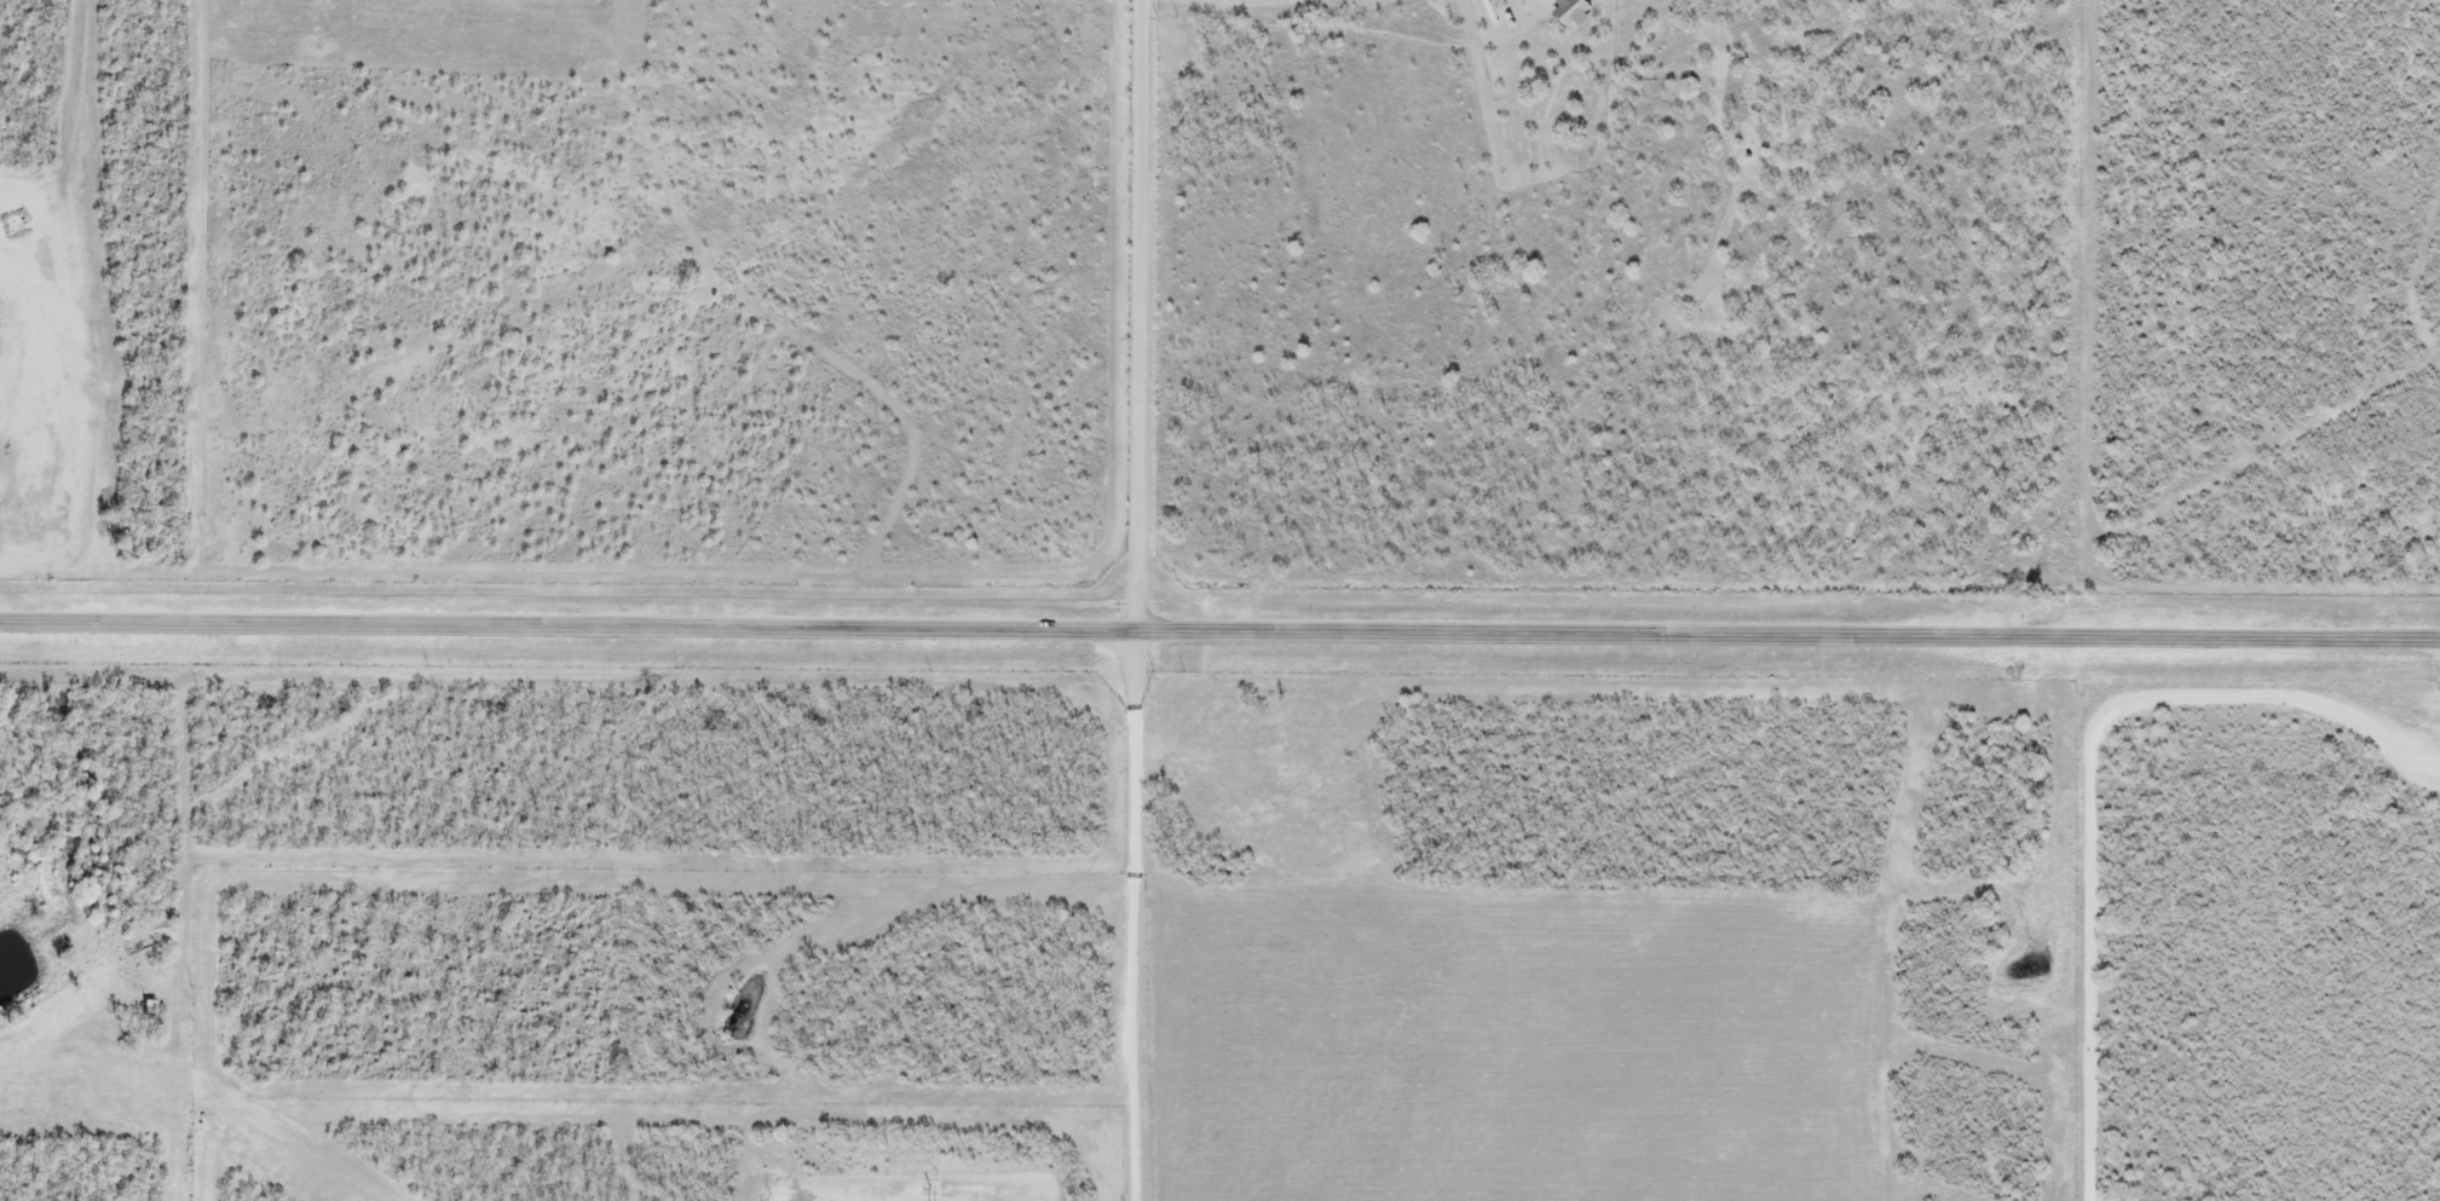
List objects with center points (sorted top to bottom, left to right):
road: (1258, 0)
building: (1571, 13)
road: (1137, 319)
road: (1219, 639)
road: (2086, 772)
road: (1117, 919)

